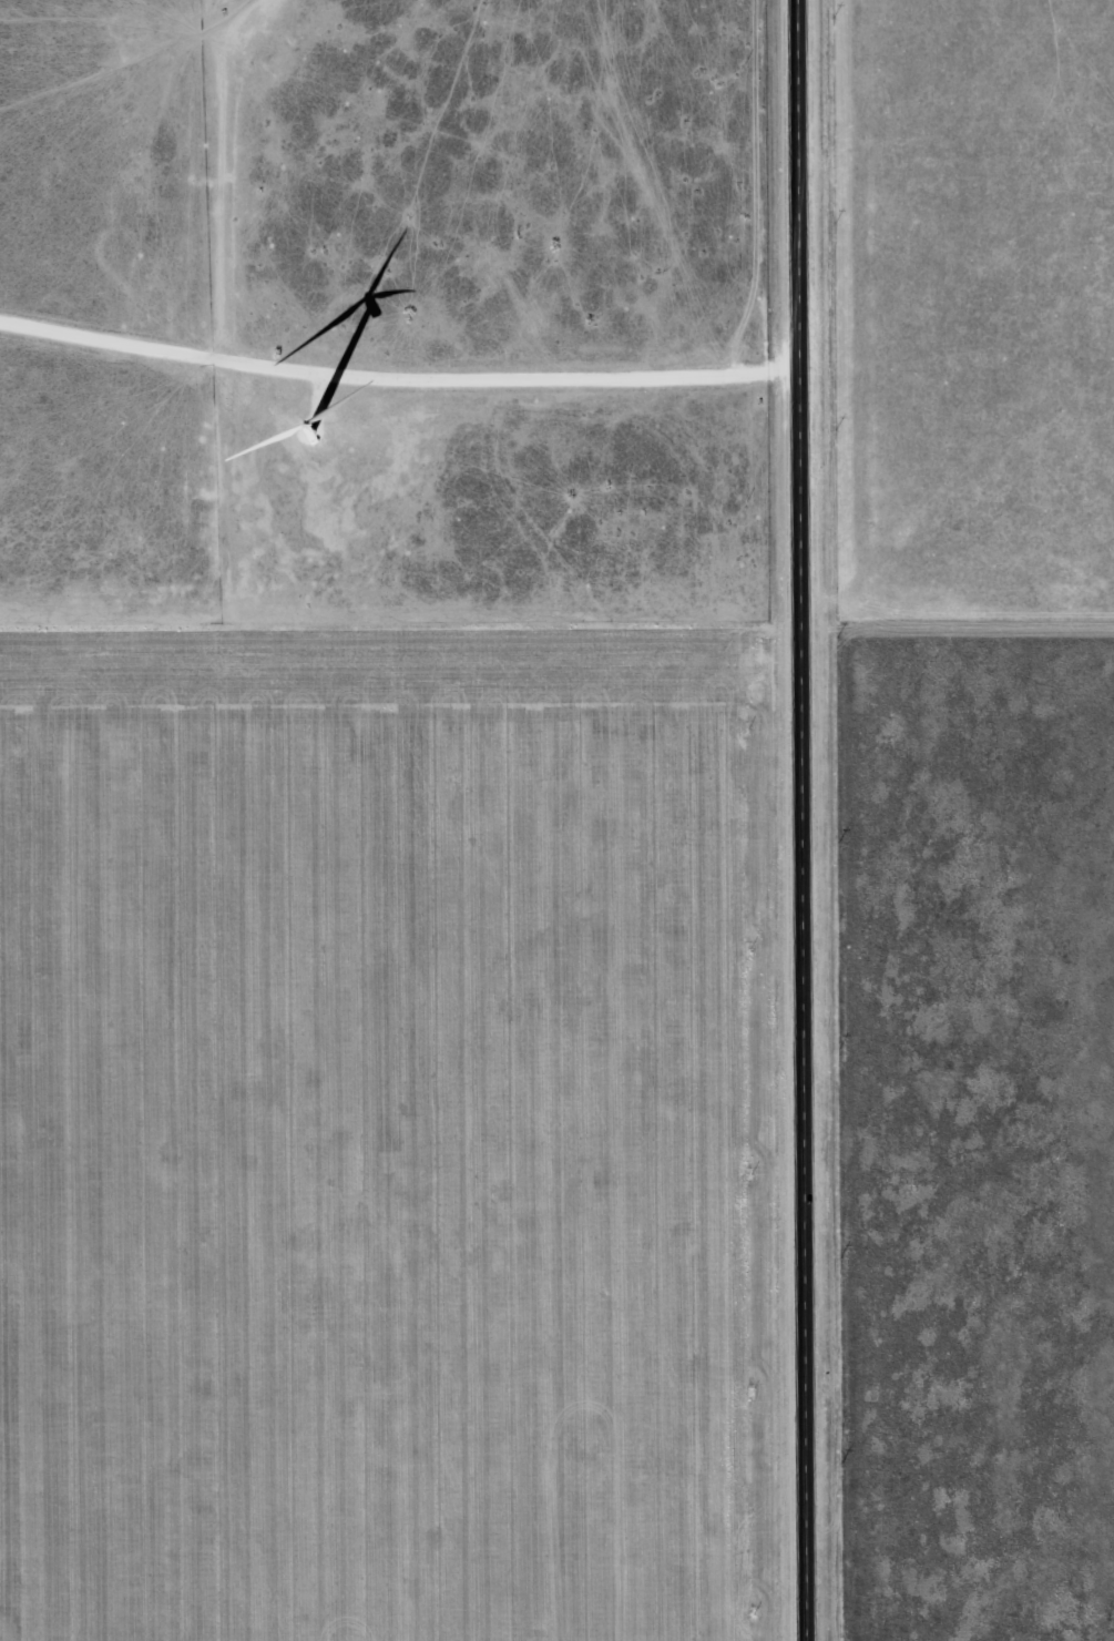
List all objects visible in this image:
wind turbine: (304, 437)
road: (799, 820)

